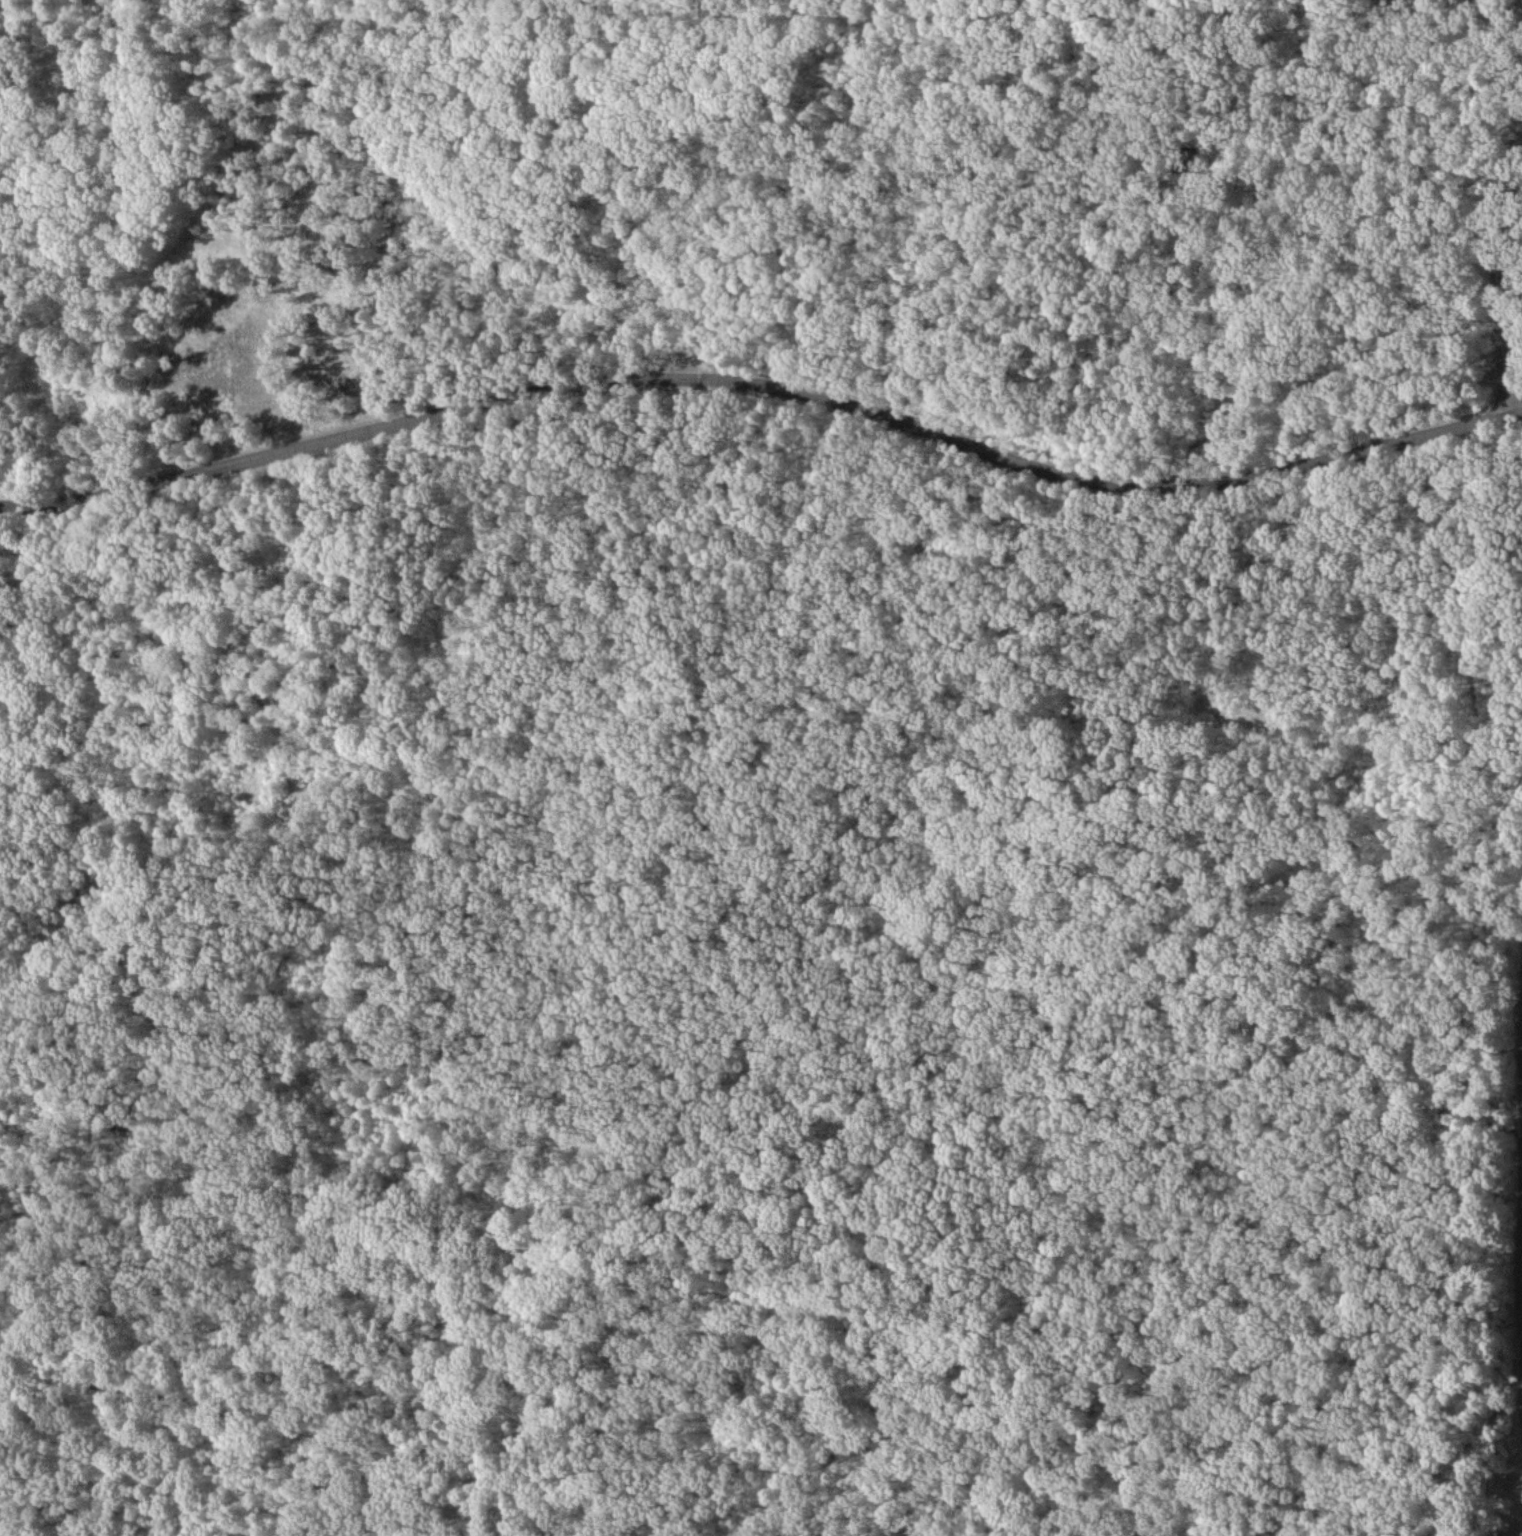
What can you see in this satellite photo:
road: (761, 9)
road: (1500, 293)
road: (765, 382)

